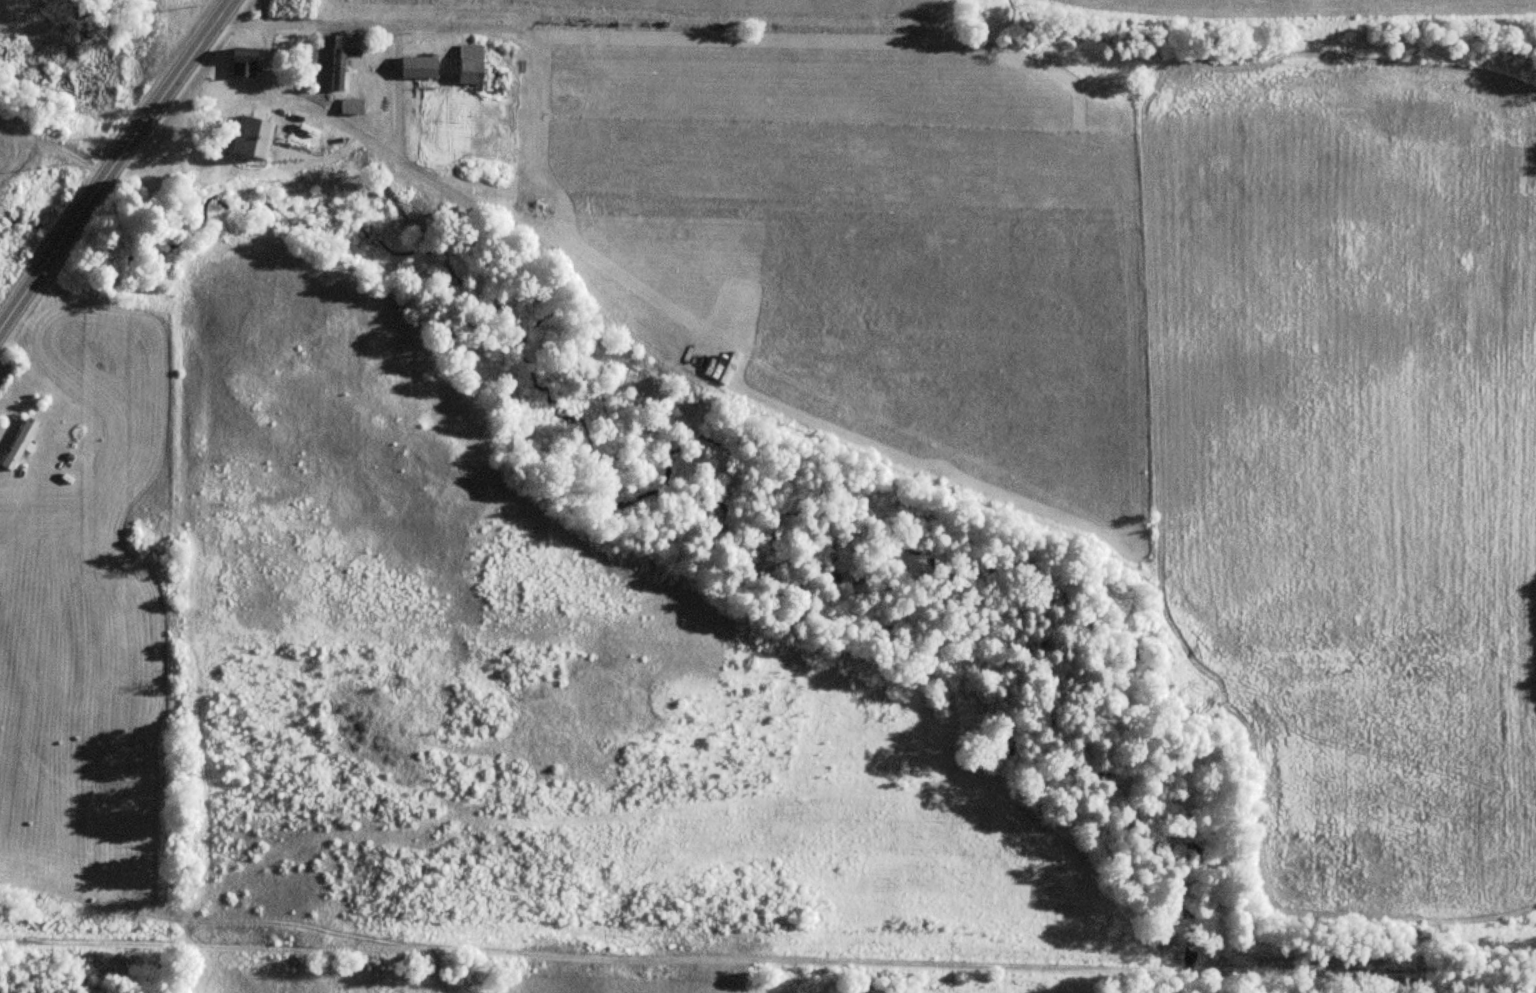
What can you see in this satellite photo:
building: (241, 62)
building: (336, 63)
building: (417, 68)
building: (478, 72)
building: (349, 107)
building: (250, 137)
road: (117, 167)
building: (17, 443)
road: (26, 477)
road: (166, 945)

